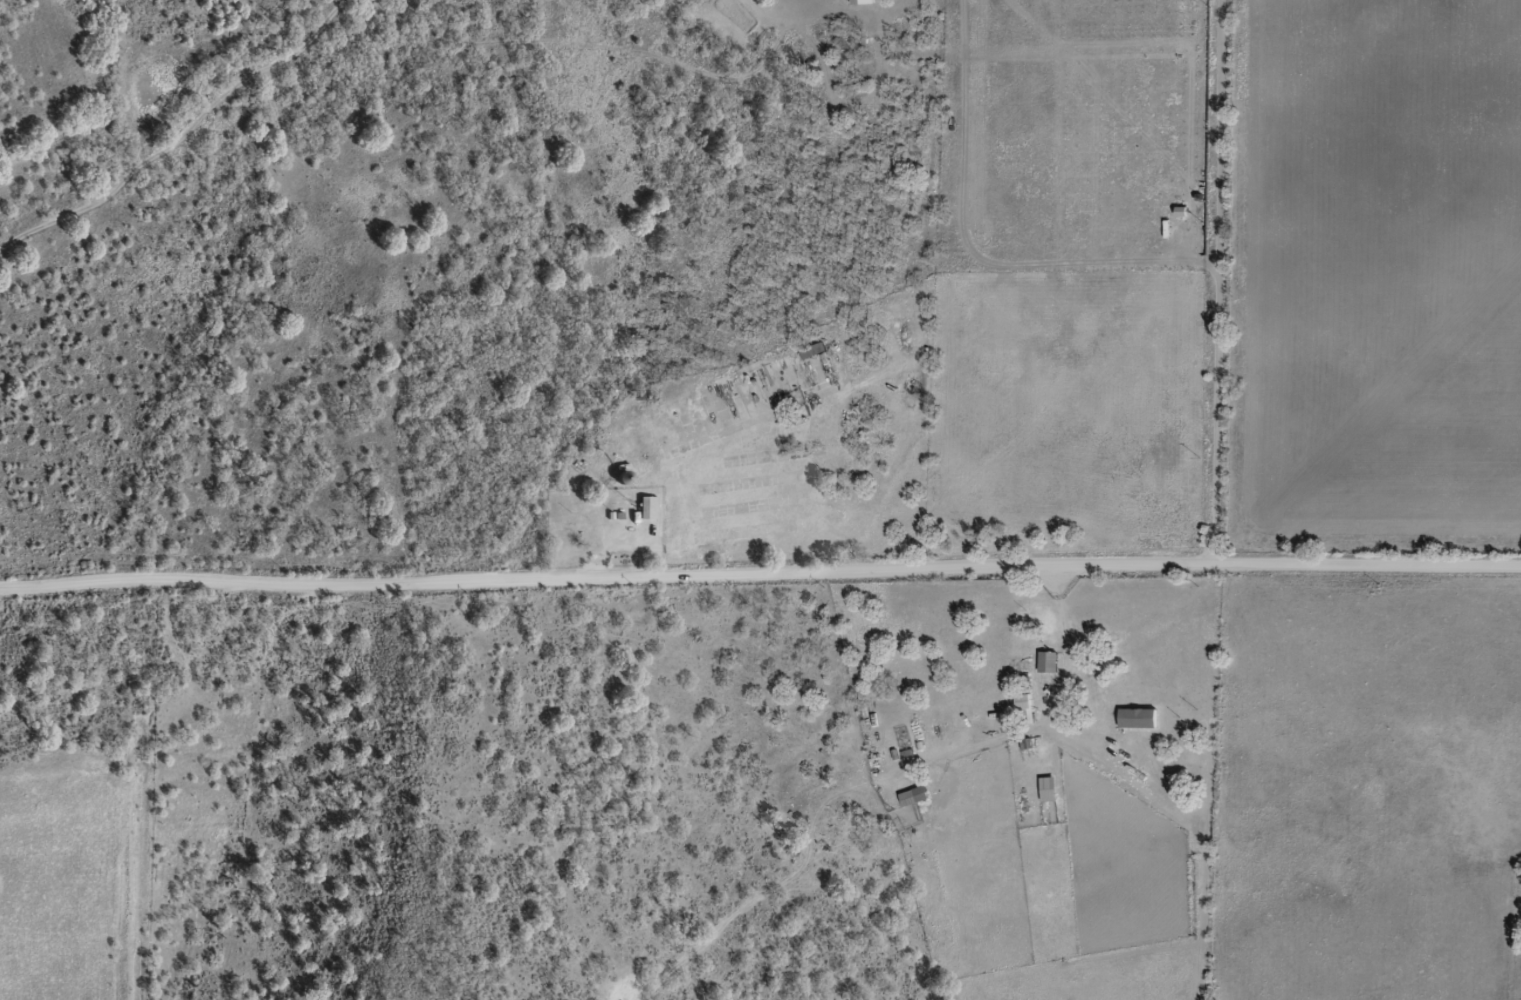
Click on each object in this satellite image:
road: (154, 145)
road: (1218, 290)
building: (817, 353)
building: (625, 478)
building: (649, 508)
road: (760, 595)
building: (1051, 665)
building: (1140, 719)
road: (850, 783)
building: (916, 797)

